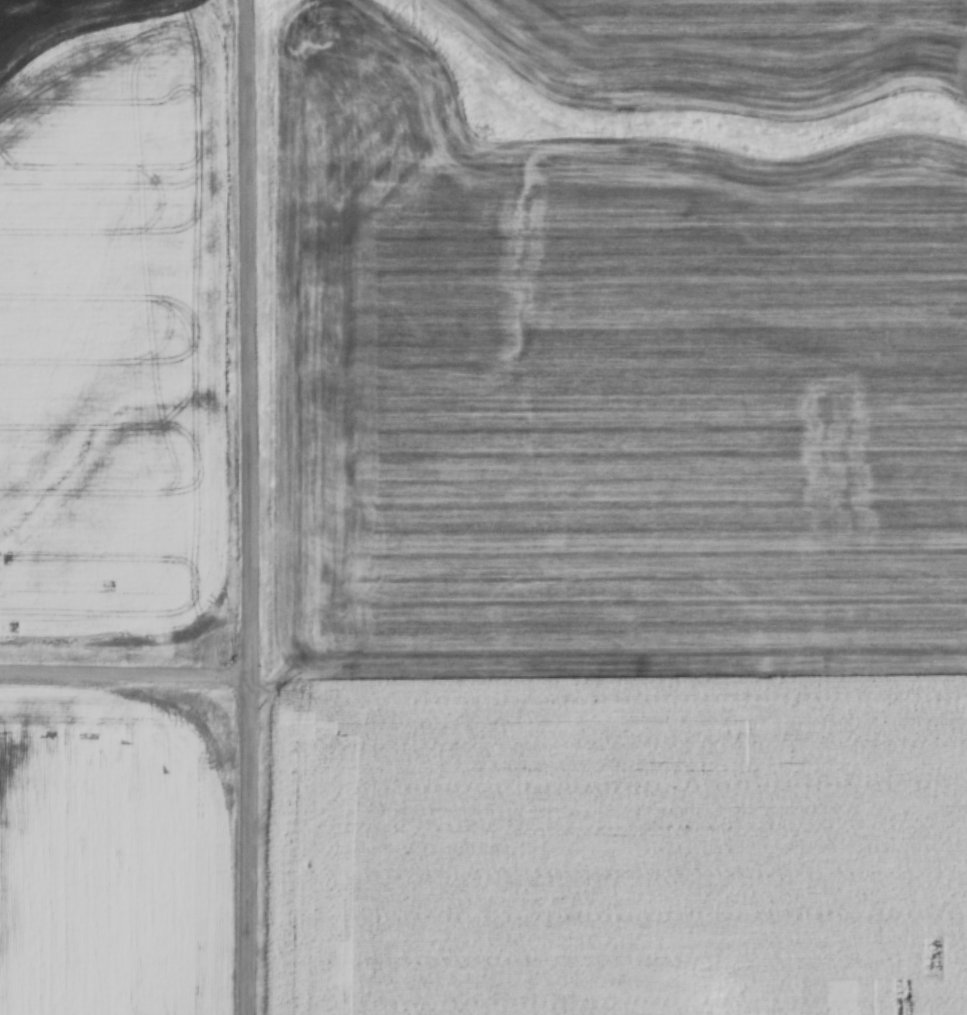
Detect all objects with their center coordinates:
road: (255, 507)
road: (128, 682)

